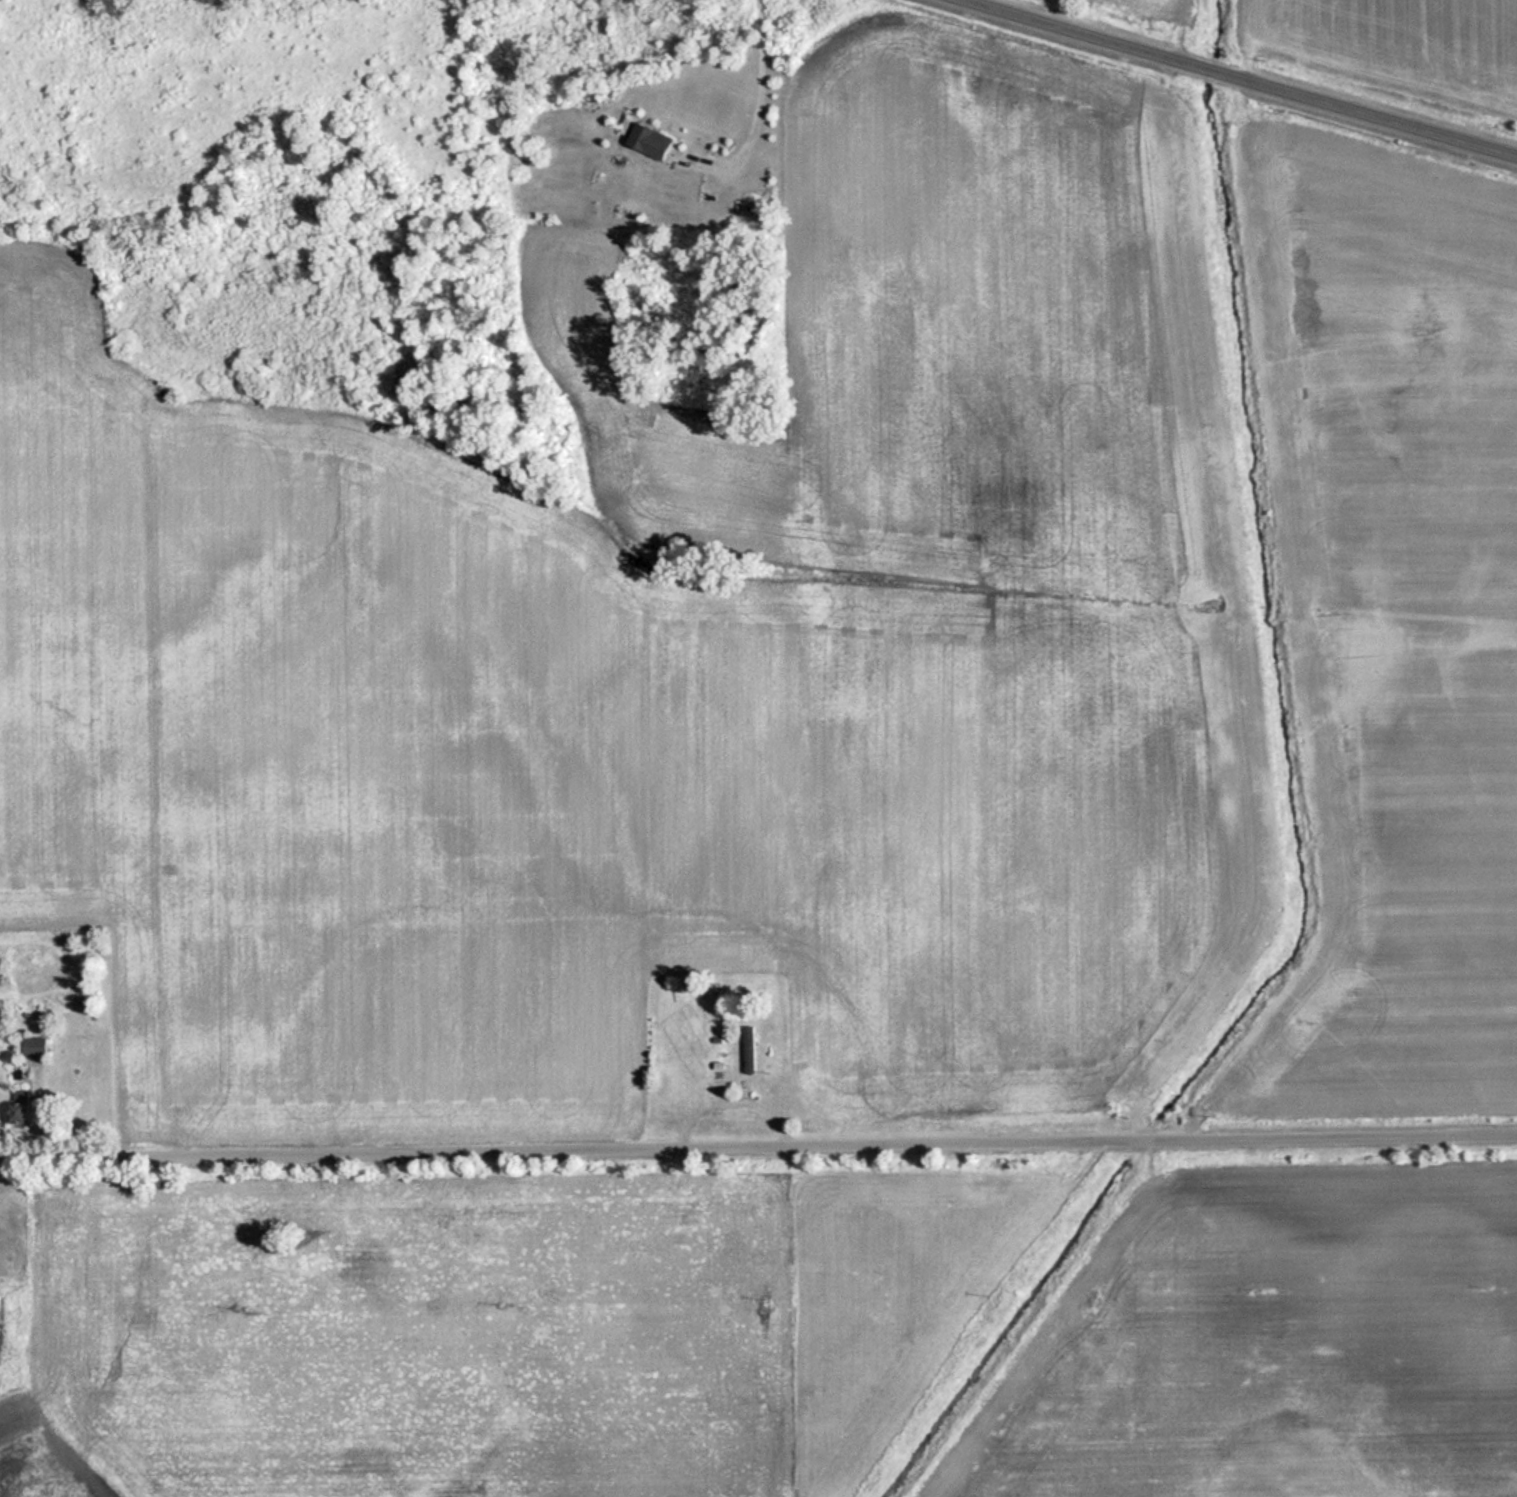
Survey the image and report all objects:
road: (1231, 81)
building: (655, 139)
building: (37, 1047)
building: (753, 1049)
building: (22, 1115)
road: (758, 1149)

